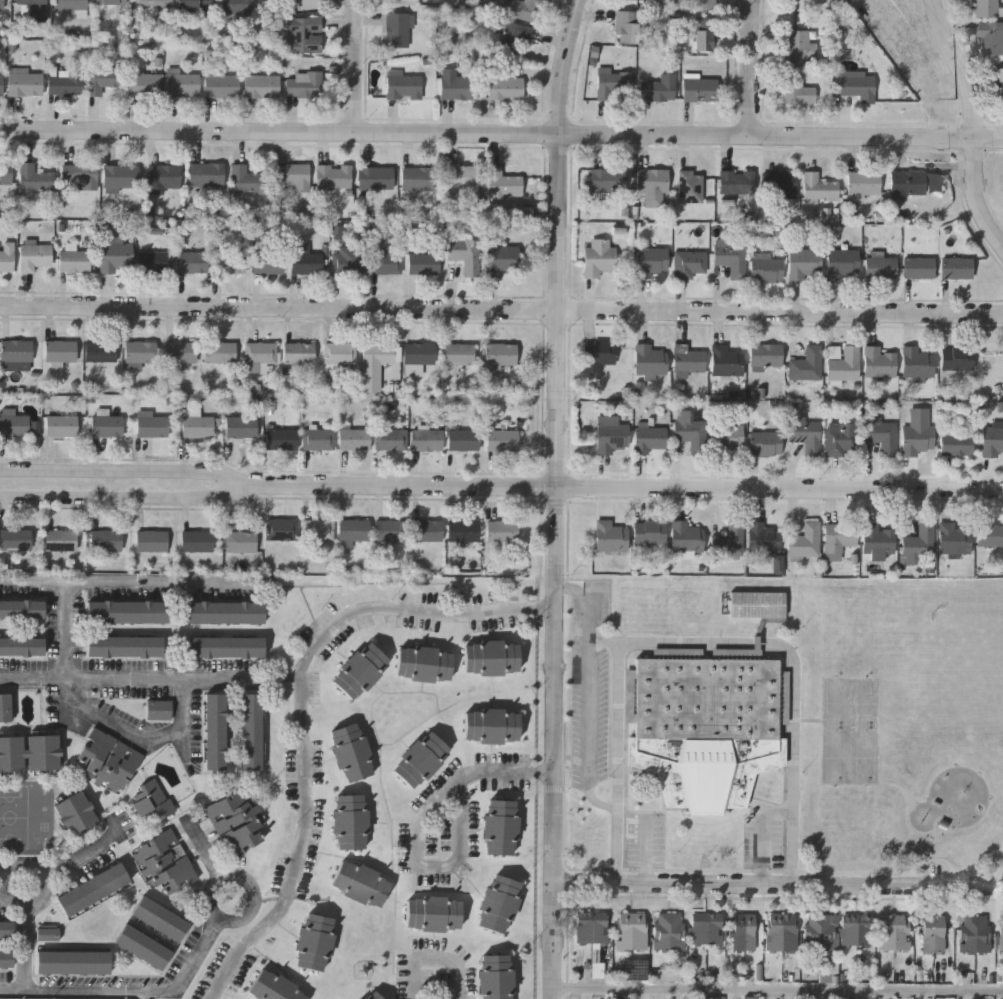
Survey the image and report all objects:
building: (794, 0)
building: (636, 1)
building: (110, 3)
building: (305, 3)
building: (1, 5)
building: (153, 5)
building: (194, 6)
building: (706, 6)
building: (34, 8)
building: (71, 8)
building: (236, 8)
building: (985, 8)
building: (523, 10)
building: (627, 29)
building: (398, 31)
building: (304, 35)
building: (705, 36)
building: (992, 38)
building: (514, 39)
building: (800, 49)
road: (358, 65)
road: (752, 67)
building: (1000, 77)
building: (123, 82)
building: (66, 84)
building: (613, 84)
building: (25, 85)
building: (1, 86)
building: (304, 86)
building: (403, 86)
building: (182, 87)
building: (222, 87)
building: (262, 87)
building: (858, 87)
building: (457, 89)
building: (505, 89)
building: (659, 90)
building: (700, 91)
building: (796, 91)
power tower: (954, 106)
road: (974, 120)
road: (501, 133)
building: (6, 175)
building: (81, 177)
building: (206, 177)
building: (292, 177)
building: (121, 178)
building: (334, 178)
building: (164, 179)
building: (35, 180)
building: (376, 180)
building: (462, 180)
building: (418, 181)
building: (603, 181)
building: (247, 183)
building: (503, 184)
building: (737, 184)
building: (864, 185)
building: (913, 185)
building: (782, 186)
building: (653, 188)
building: (690, 188)
building: (819, 190)
building: (524, 213)
building: (465, 256)
building: (116, 258)
building: (7, 259)
building: (35, 259)
building: (598, 259)
building: (731, 259)
building: (502, 262)
building: (74, 263)
building: (154, 263)
building: (347, 263)
building: (652, 263)
building: (192, 264)
building: (230, 264)
building: (305, 264)
building: (842, 264)
building: (268, 265)
building: (386, 265)
building: (423, 265)
building: (690, 265)
building: (803, 265)
building: (881, 269)
building: (766, 270)
building: (919, 270)
building: (958, 270)
road: (501, 311)
building: (17, 352)
building: (60, 352)
building: (100, 353)
building: (180, 353)
building: (220, 354)
building: (500, 354)
building: (140, 355)
building: (299, 355)
building: (340, 355)
building: (419, 355)
building: (458, 355)
building: (599, 356)
building: (259, 357)
building: (766, 357)
building: (957, 360)
building: (688, 361)
building: (649, 362)
building: (726, 362)
building: (843, 364)
building: (878, 364)
building: (917, 364)
building: (376, 365)
building: (807, 366)
building: (13, 425)
building: (152, 427)
building: (60, 428)
building: (107, 428)
building: (197, 428)
building: (241, 428)
building: (691, 433)
building: (806, 435)
building: (917, 435)
building: (882, 437)
building: (728, 438)
building: (613, 439)
building: (281, 441)
building: (318, 441)
building: (354, 441)
building: (651, 441)
building: (842, 441)
building: (992, 441)
building: (391, 442)
building: (427, 442)
building: (463, 442)
building: (502, 442)
building: (765, 445)
building: (957, 446)
road: (131, 471)
road: (632, 488)
road: (559, 498)
road: (132, 499)
building: (353, 530)
building: (282, 531)
building: (318, 531)
building: (390, 532)
building: (426, 532)
building: (502, 532)
building: (463, 533)
building: (650, 535)
building: (989, 536)
building: (610, 538)
building: (687, 538)
building: (841, 538)
building: (763, 540)
building: (952, 540)
building: (16, 541)
building: (60, 542)
building: (729, 542)
building: (878, 542)
building: (106, 543)
building: (151, 543)
building: (197, 543)
building: (241, 543)
building: (806, 543)
building: (918, 546)
building: (778, 564)
road: (154, 581)
road: (587, 597)
building: (757, 606)
building: (22, 608)
building: (127, 612)
building: (223, 612)
road: (64, 628)
road: (605, 638)
road: (702, 641)
building: (21, 646)
building: (124, 646)
building: (225, 647)
building: (490, 657)
building: (423, 663)
building: (360, 668)
road: (245, 676)
building: (5, 710)
road: (306, 710)
building: (158, 711)
road: (183, 714)
building: (491, 725)
building: (705, 726)
park: (912, 726)
park: (954, 726)
road: (589, 730)
building: (215, 733)
building: (251, 734)
building: (29, 751)
building: (349, 752)
building: (420, 758)
building: (107, 761)
building: (151, 802)
building: (75, 815)
building: (348, 820)
road: (421, 823)
building: (235, 825)
building: (499, 826)
road: (206, 848)
road: (80, 854)
building: (165, 863)
building: (358, 882)
road: (779, 885)
building: (91, 889)
road: (11, 893)
road: (6, 896)
building: (497, 902)
building: (432, 913)
road: (225, 914)
building: (160, 919)
building: (6, 928)
building: (591, 929)
building: (705, 930)
building: (632, 932)
building: (669, 932)
building: (46, 933)
building: (855, 933)
building: (895, 933)
building: (743, 934)
building: (781, 934)
building: (821, 934)
building: (934, 935)
building: (975, 935)
building: (1001, 936)
building: (313, 940)
road: (25, 945)
building: (143, 947)
building: (6, 958)
road: (436, 958)
building: (73, 961)
building: (635, 971)
building: (669, 975)
building: (494, 976)
road: (779, 985)
building: (273, 986)
road: (132, 989)
building: (373, 995)
building: (751, 997)
building: (359, 998)

